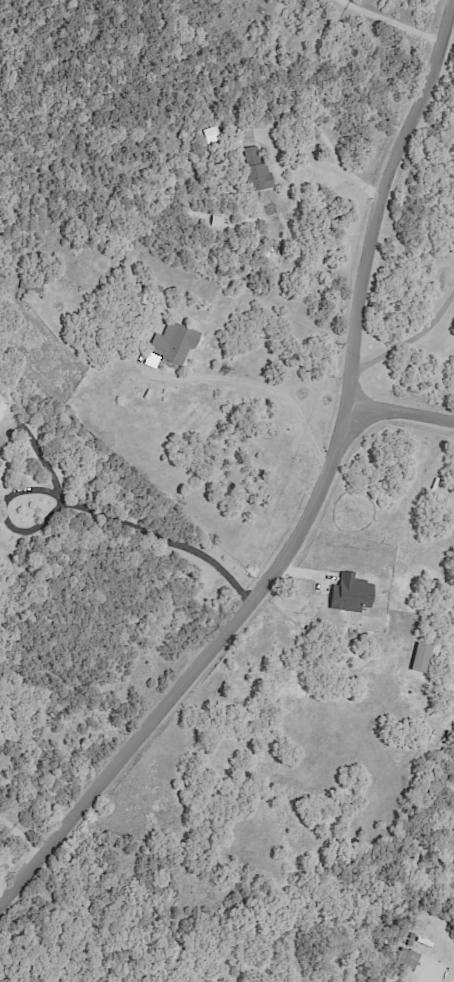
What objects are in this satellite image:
road: (386, 20)
road: (328, 164)
building: (255, 171)
building: (30, 283)
road: (409, 343)
building: (171, 345)
road: (265, 389)
building: (0, 401)
road: (400, 412)
building: (1, 442)
building: (1, 462)
building: (0, 475)
road: (314, 493)
road: (92, 503)
building: (351, 594)
building: (421, 657)
road: (19, 838)
building: (406, 959)
road: (417, 980)

